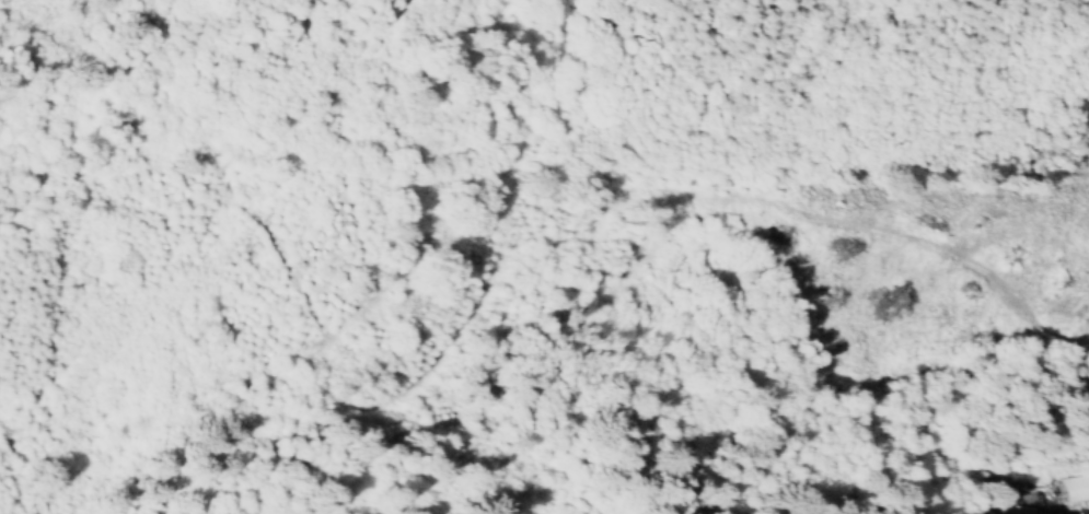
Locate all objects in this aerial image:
building: (1074, 488)
building: (1012, 509)

